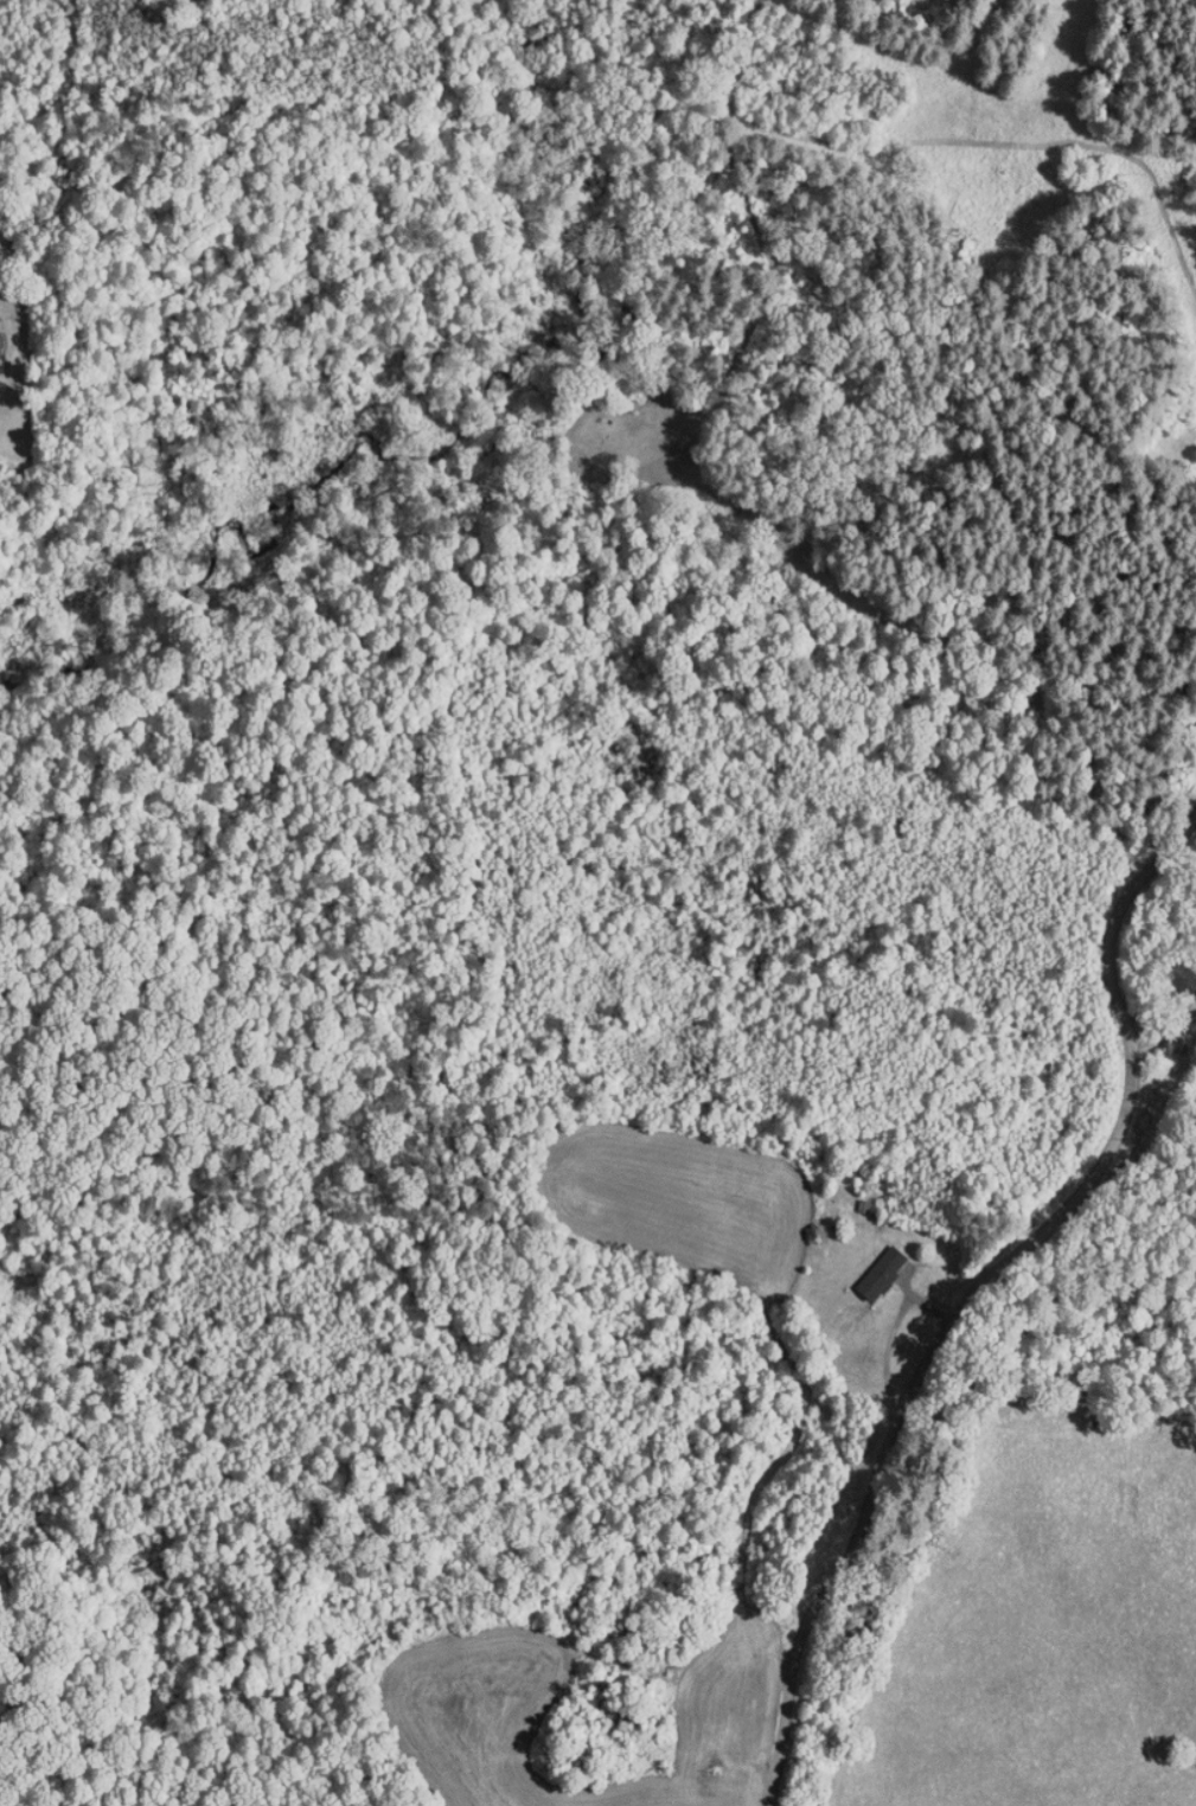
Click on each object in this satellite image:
building: (1169, 969)
building: (866, 1266)
road: (977, 1292)

